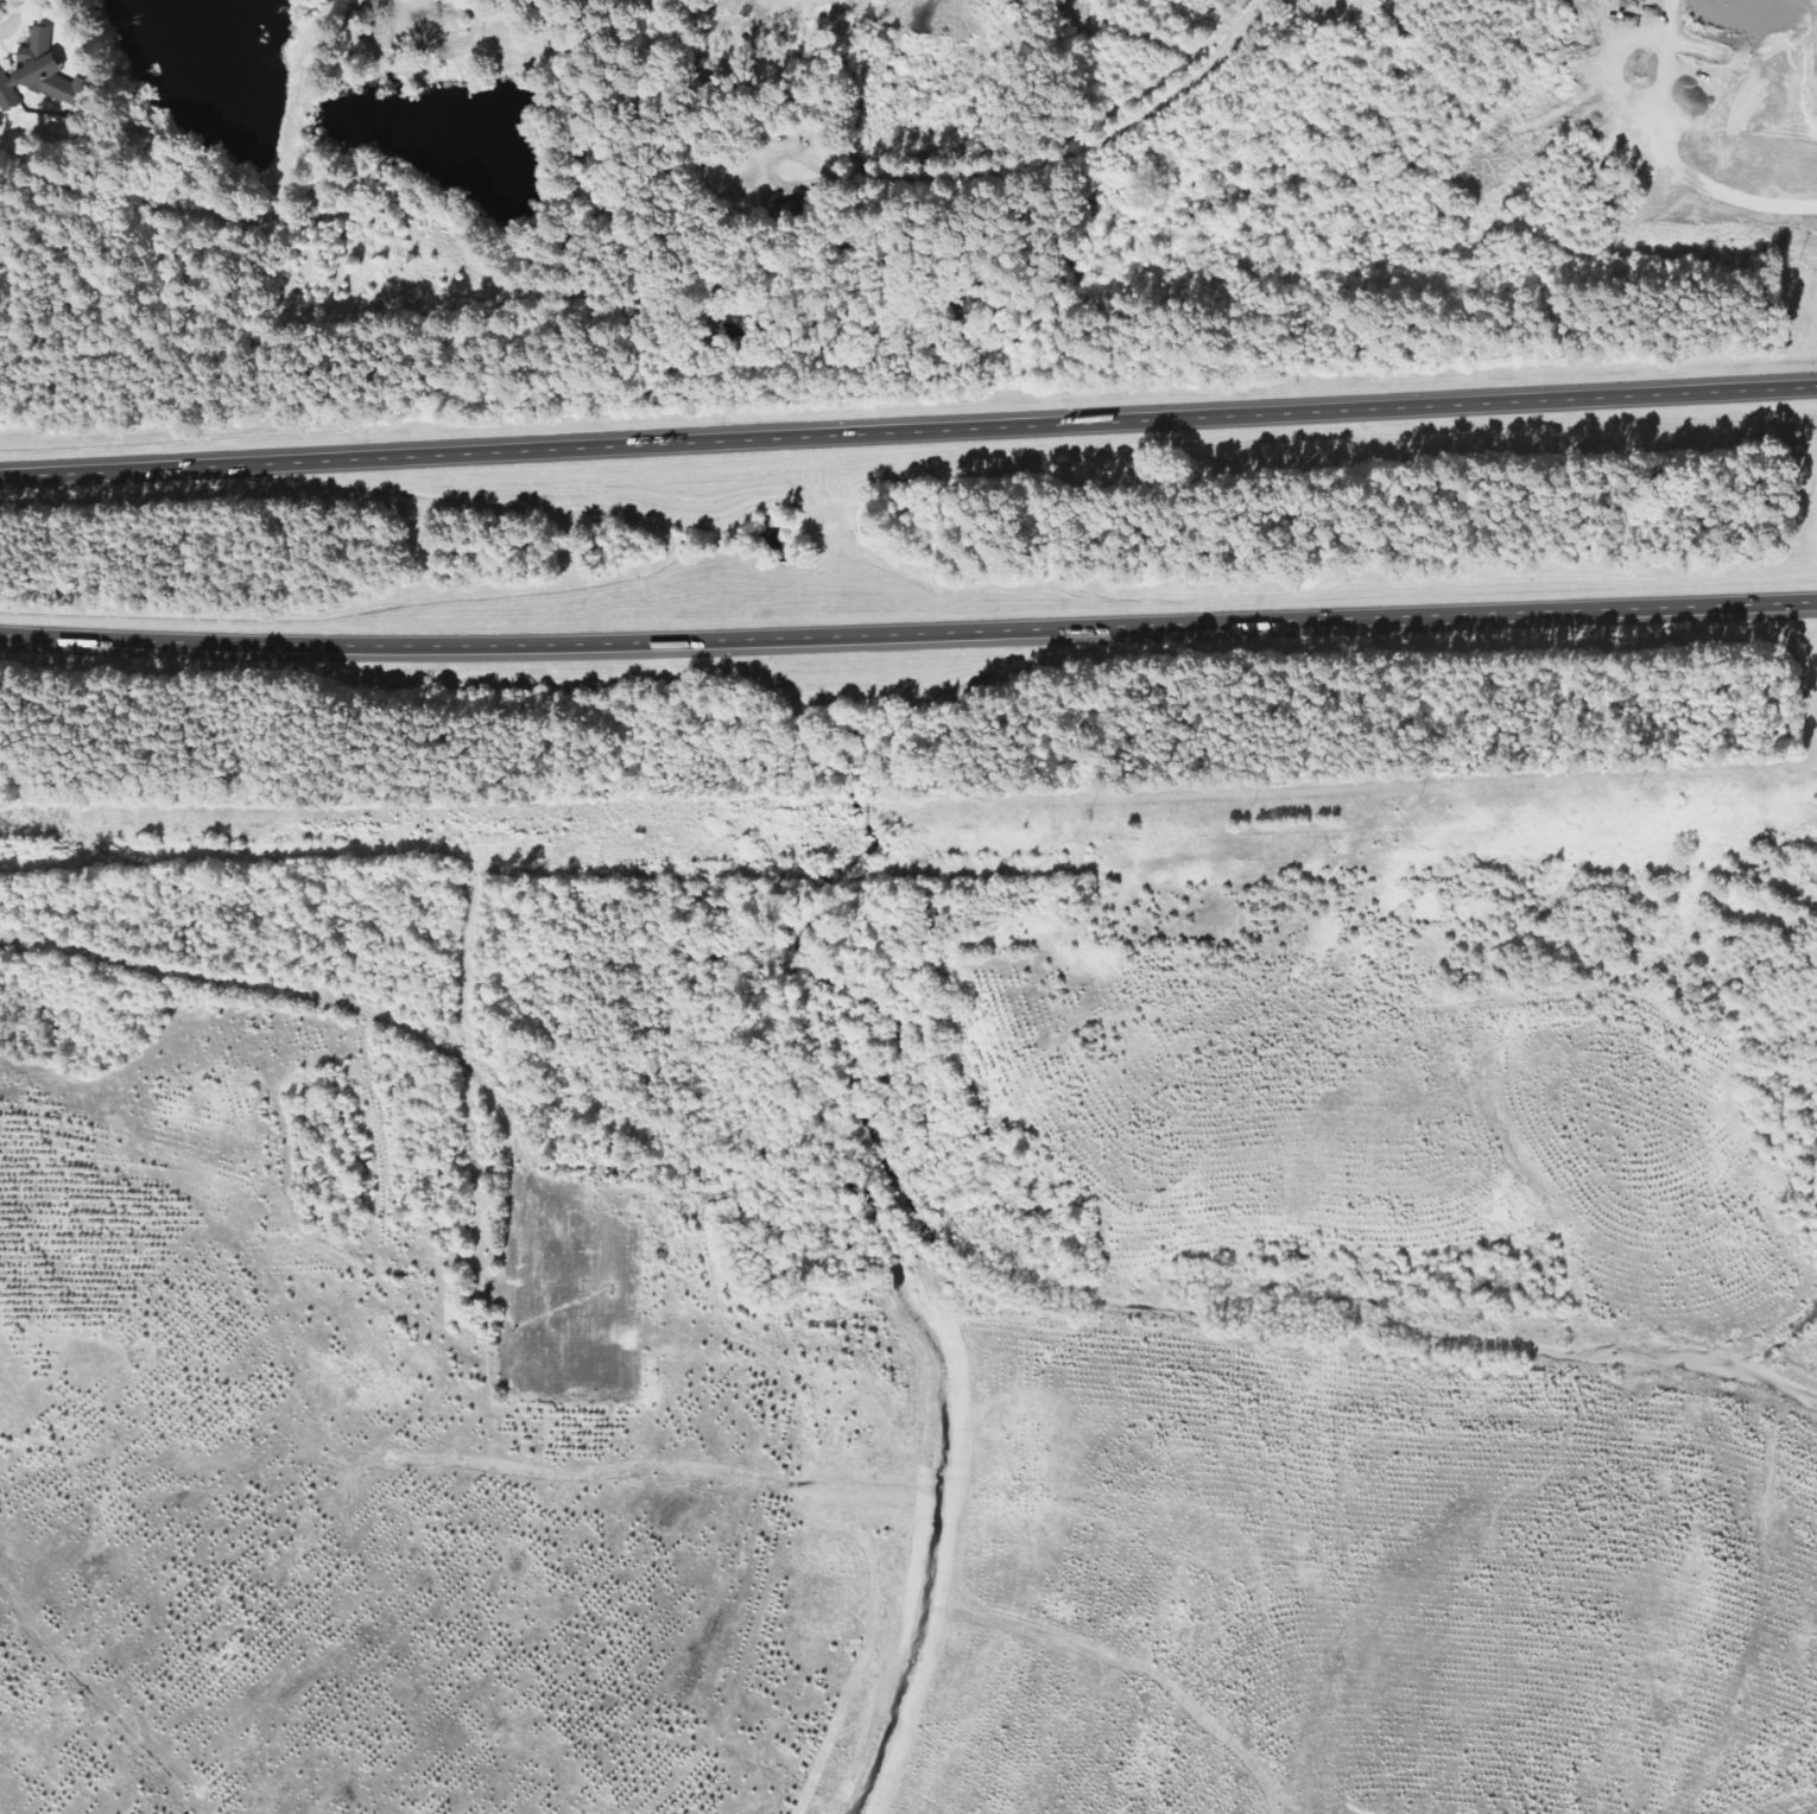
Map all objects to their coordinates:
building: (40, 58)
building: (6, 89)
road: (908, 432)
road: (908, 632)

